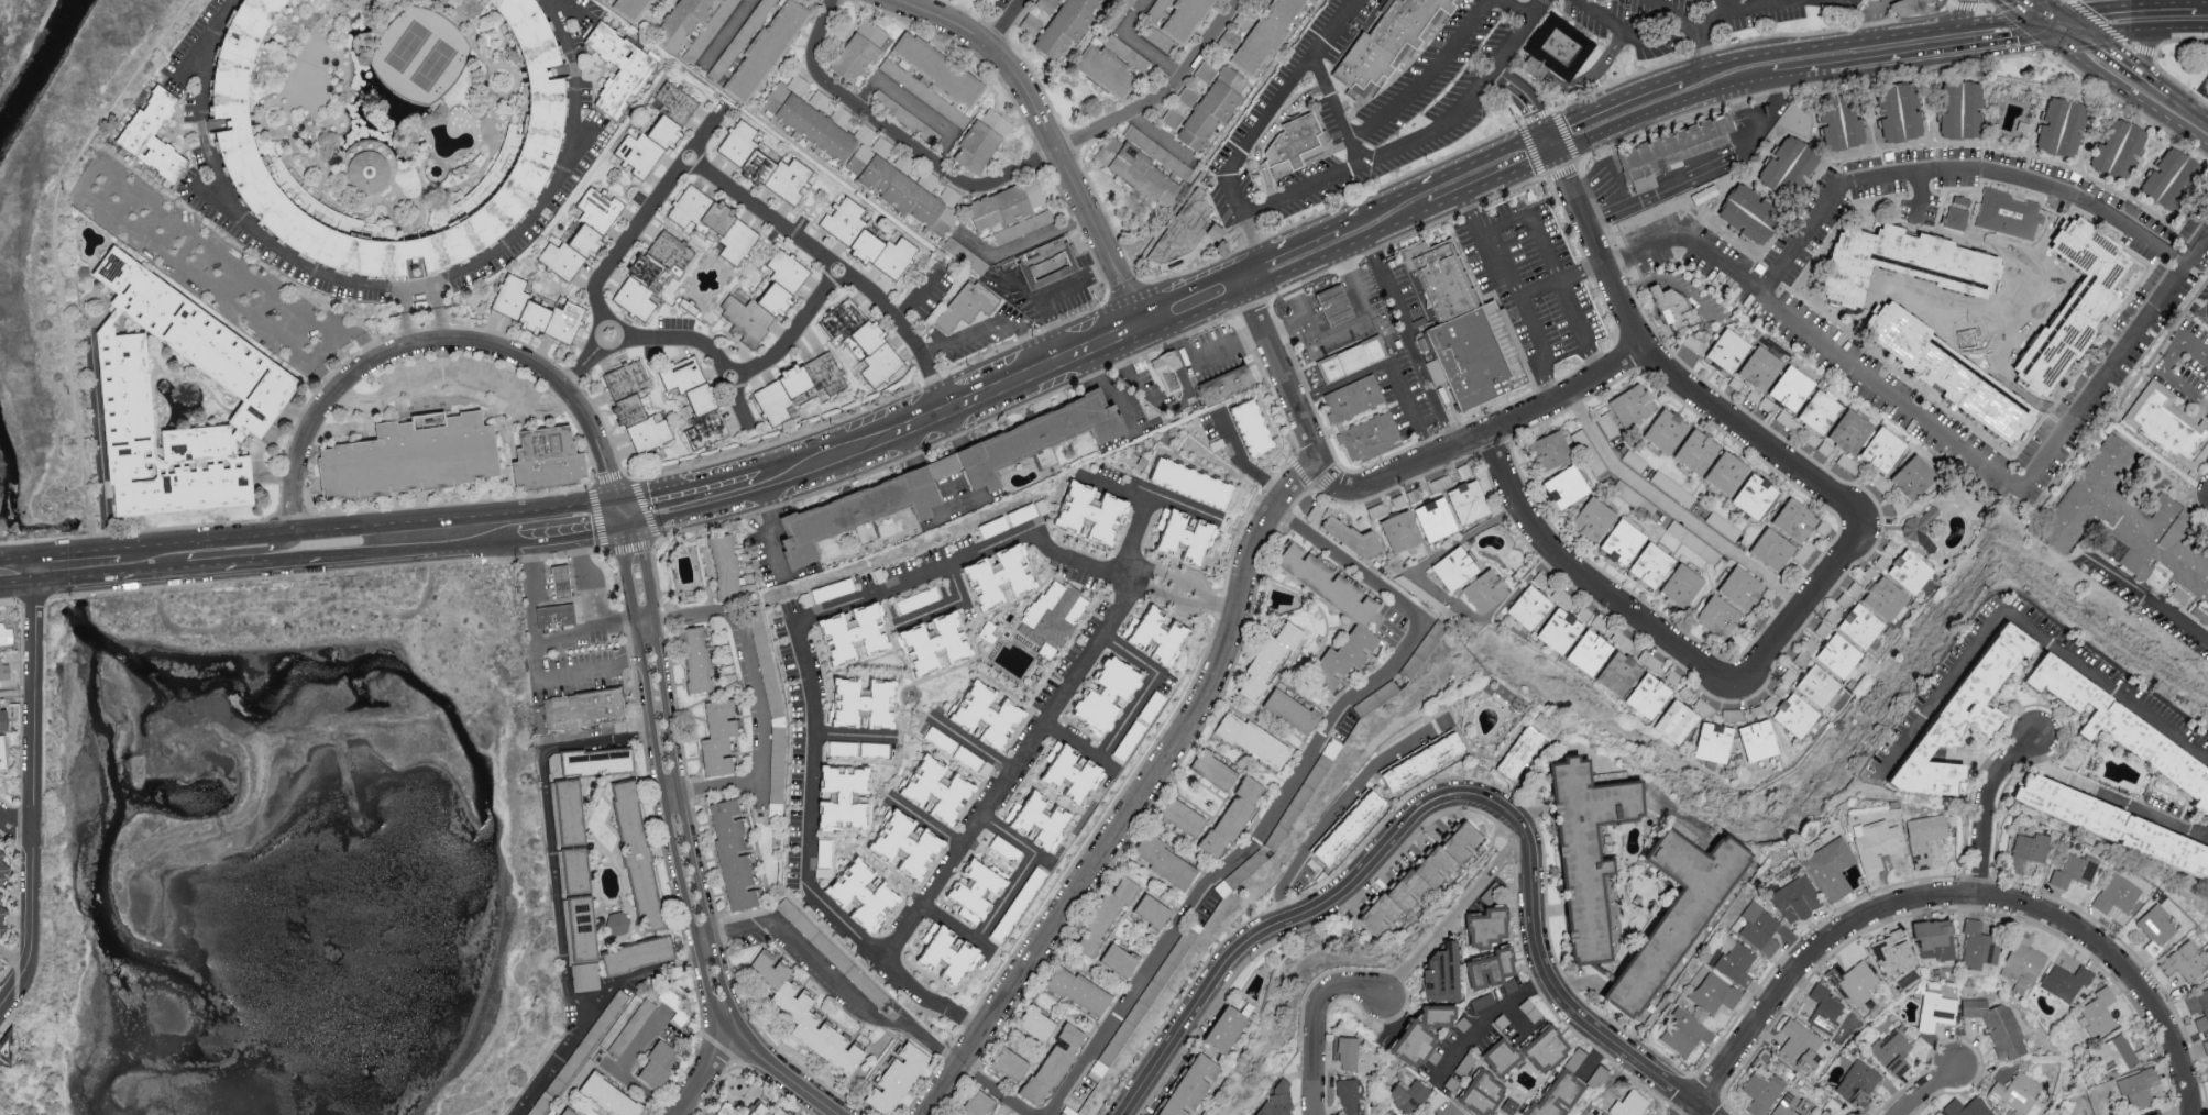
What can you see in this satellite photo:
building: (606, 0)
road: (1721, 0)
road: (2198, 1)
road: (1760, 3)
building: (1045, 4)
building: (1914, 8)
building: (631, 9)
road: (1513, 10)
road: (1536, 10)
road: (1971, 10)
road: (386, 11)
road: (2050, 12)
road: (2029, 13)
building: (1176, 15)
road: (2193, 16)
road: (1674, 18)
road: (2097, 20)
road: (2117, 21)
building: (681, 23)
road: (1877, 23)
road: (1008, 24)
road: (1957, 24)
traffic signals: (2057, 25)
building: (1064, 26)
building: (706, 30)
road: (726, 30)
road: (1996, 31)
building: (1265, 34)
road: (1626, 36)
road: (1700, 36)
road: (2028, 40)
road: (1139, 42)
building: (1393, 43)
building: (756, 45)
park: (407, 47)
building: (1558, 47)
road: (2144, 48)
road: (1854, 49)
road: (2140, 49)
building: (858, 51)
park: (419, 55)
park: (312, 64)
park: (432, 66)
building: (616, 66)
building: (1105, 70)
building: (1205, 71)
road: (1421, 75)
road: (1721, 76)
building: (932, 77)
road: (2132, 78)
road: (517, 80)
road: (1571, 84)
building: (1187, 96)
road: (284, 97)
building: (819, 99)
building: (673, 101)
road: (913, 103)
road: (1527, 103)
building: (1212, 106)
road: (1333, 109)
park: (384, 111)
building: (1898, 111)
building: (903, 115)
building: (809, 117)
building: (1172, 117)
road: (260, 118)
road: (1613, 119)
building: (1841, 120)
building: (2061, 126)
road: (1255, 128)
road: (492, 132)
road: (1045, 132)
building: (151, 135)
building: (537, 139)
building: (980, 140)
building: (646, 144)
road: (1406, 144)
traffic signals: (1556, 144)
building: (1299, 145)
building: (2116, 147)
building: (1674, 152)
road: (392, 163)
building: (764, 163)
building: (1787, 167)
building: (1135, 170)
road: (1493, 170)
building: (367, 172)
road: (1954, 173)
building: (1687, 175)
road: (90, 176)
road: (1003, 179)
building: (2169, 179)
building: (900, 185)
road: (373, 200)
building: (1004, 203)
building: (597, 209)
building: (2004, 211)
building: (1748, 212)
road: (1386, 217)
building: (1953, 218)
building: (713, 221)
building: (1018, 225)
building: (1189, 231)
park: (58, 235)
building: (866, 239)
road: (1020, 241)
road: (1511, 241)
road: (184, 247)
road: (809, 247)
building: (570, 251)
road: (57, 252)
road: (623, 253)
road: (1301, 253)
building: (964, 254)
building: (1902, 262)
building: (1051, 265)
road: (1551, 268)
building: (650, 273)
road: (1252, 275)
road: (1559, 276)
building: (781, 283)
building: (1438, 284)
road: (1513, 284)
road: (387, 286)
road: (1047, 292)
road: (916, 295)
building: (2074, 303)
building: (964, 305)
building: (1332, 308)
building: (535, 310)
building: (1673, 310)
road: (436, 312)
road: (400, 316)
building: (745, 319)
road: (1356, 323)
park: (2004, 323)
road: (990, 325)
road: (794, 336)
road: (1407, 339)
road: (327, 340)
building: (863, 341)
road: (437, 344)
road: (704, 346)
building: (1726, 350)
building: (1476, 357)
road: (923, 360)
road: (1657, 360)
road: (1199, 362)
building: (1351, 362)
road: (1389, 362)
road: (2163, 368)
building: (1166, 371)
road: (1279, 371)
building: (1758, 371)
building: (824, 373)
building: (1949, 374)
road: (450, 376)
building: (623, 378)
building: (1224, 386)
building: (1790, 387)
parking lot: (457, 389)
road: (936, 391)
building: (780, 394)
road: (1150, 395)
building: (175, 397)
building: (695, 401)
building: (1630, 405)
road: (936, 410)
building: (1817, 411)
building: (1361, 421)
building: (2167, 424)
building: (1250, 427)
building: (1665, 430)
building: (1846, 433)
road: (1481, 437)
road: (1946, 437)
road: (100, 441)
building: (1025, 441)
parking lot: (1235, 445)
building: (1882, 450)
building: (1548, 451)
building: (1695, 451)
building: (415, 460)
road: (1241, 461)
building: (551, 462)
building: (1725, 473)
building: (1912, 477)
building: (1189, 483)
building: (1439, 483)
building: (1564, 486)
building: (1754, 496)
building: (1466, 501)
road: (1179, 507)
building: (1376, 510)
road: (1674, 511)
traffic signals: (622, 512)
building: (853, 512)
building: (1089, 512)
road: (1136, 512)
road: (457, 518)
road: (600, 519)
building: (1433, 519)
building: (1592, 519)
building: (1794, 520)
building: (2129, 525)
road: (767, 526)
building: (1822, 527)
building: (1922, 528)
road: (553, 531)
building: (1399, 531)
building: (1183, 534)
road: (239, 537)
building: (1350, 538)
building: (1621, 542)
road: (627, 544)
road: (152, 545)
road: (410, 548)
building: (1771, 549)
road: (235, 551)
building: (1802, 551)
road: (73, 557)
road: (233, 564)
building: (1650, 565)
building: (724, 566)
building: (1453, 567)
road: (14, 568)
road: (72, 570)
road: (144, 570)
building: (1909, 571)
road: (325, 572)
building: (1868, 572)
building: (997, 576)
road: (1582, 577)
building: (556, 583)
road: (559, 585)
building: (1681, 585)
building: (1739, 588)
road: (1143, 590)
road: (1201, 590)
building: (1484, 590)
building: (2179, 594)
building: (1885, 598)
road: (2146, 598)
road: (1185, 604)
road: (586, 605)
road: (946, 605)
road: (1806, 605)
building: (1528, 607)
building: (1054, 611)
road: (530, 615)
road: (301, 617)
road: (658, 617)
building: (1717, 617)
road: (2020, 617)
building: (558, 618)
building: (1359, 623)
building: (1859, 626)
building: (1822, 629)
building: (1559, 630)
building: (6, 633)
building: (853, 633)
building: (1155, 633)
building: (1622, 639)
building: (933, 643)
building: (1045, 649)
building: (1589, 652)
building: (1838, 655)
building: (694, 659)
building: (1266, 659)
building: (1649, 660)
building: (4, 669)
road: (805, 670)
building: (1618, 673)
building: (1816, 685)
building: (1103, 693)
building: (1647, 696)
road: (17, 697)
building: (860, 702)
building: (1704, 707)
building: (1289, 709)
building: (586, 711)
building: (986, 711)
building: (1965, 713)
building: (1733, 714)
road: (1128, 715)
building: (1794, 715)
building: (2, 718)
building: (1676, 721)
building: (2122, 729)
road: (850, 735)
building: (717, 737)
building: (1251, 738)
road: (44, 739)
road: (61, 739)
building: (1757, 740)
building: (1713, 741)
road: (970, 742)
building: (1517, 751)
building: (1, 752)
building: (595, 759)
building: (1420, 759)
road: (1012, 763)
building: (1212, 768)
road: (32, 769)
building: (1069, 771)
road: (677, 774)
road: (659, 780)
road: (721, 786)
building: (936, 786)
road: (1287, 791)
road: (2109, 793)
building: (842, 795)
road: (1143, 797)
road: (1986, 804)
building: (773, 806)
road: (1337, 807)
building: (568, 810)
building: (1232, 814)
building: (1037, 818)
road: (924, 820)
building: (1347, 825)
road: (14, 826)
building: (2117, 826)
building: (1923, 837)
building: (1875, 841)
building: (905, 842)
building: (1586, 848)
building: (2028, 850)
building: (0, 853)
building: (635, 853)
building: (732, 853)
park: (292, 854)
building: (1163, 860)
building: (1830, 866)
building: (2, 869)
building: (573, 869)
building: (2074, 870)
building: (1421, 876)
building: (975, 888)
road: (556, 890)
building: (863, 892)
road: (1004, 896)
building: (2117, 896)
building: (1795, 898)
building: (1150, 909)
building: (2, 910)
building: (1674, 913)
building: (1103, 914)
road: (1453, 914)
building: (616, 921)
building: (1486, 923)
building: (1, 927)
building: (580, 927)
building: (1758, 927)
building: (2155, 927)
building: (1934, 938)
road: (1535, 941)
road: (44, 942)
road: (1243, 943)
building: (1978, 945)
building: (635, 952)
building: (946, 952)
building: (1891, 952)
building: (1118, 958)
road: (13, 960)
building: (2185, 960)
building: (1734, 961)
road: (1801, 961)
building: (2022, 963)
road: (2118, 968)
building: (1492, 969)
building: (1441, 973)
building: (584, 975)
road: (1572, 979)
building: (2066, 979)
building: (1853, 980)
road: (13, 987)
building: (1076, 989)
building: (1714, 993)
road: (46, 1000)
road: (30, 1003)
building: (2198, 1007)
building: (1824, 1008)
building: (1528, 1009)
building: (1935, 1009)
building: (802, 1012)
road: (868, 1012)
building: (2097, 1012)
building: (1438, 1014)
road: (1481, 1020)
road: (1514, 1020)
building: (1035, 1022)
road: (1311, 1023)
road: (968, 1025)
building: (1997, 1026)
building: (1224, 1028)
building: (1683, 1030)
building: (1413, 1042)
building: (1799, 1042)
building: (2205, 1045)
building: (1546, 1048)
building: (1891, 1050)
building: (1347, 1052)
building: (1501, 1055)
building: (2117, 1055)
road: (556, 1060)
building: (1008, 1062)
building: (1052, 1062)
building: (656, 1063)
building: (1584, 1067)
building: (896, 1075)
road: (700, 1077)
road: (777, 1077)
building: (1858, 1083)
building: (1188, 1084)
building: (2138, 1088)
building: (1761, 1089)
road: (1925, 1089)
building: (1482, 1091)
building: (2015, 1092)
building: (1348, 1094)
building: (1407, 1094)
building: (1557, 1094)
building: (608, 1095)
building: (1275, 1101)
building: (976, 1103)
building: (1628, 1103)
building: (1966, 1107)
building: (740, 1108)
building: (1797, 1108)
building: (779, 1112)
building: (1825, 1112)
building: (563, 1113)
road: (1450, 1113)
building: (1597, 1113)
building: (2152, 1113)
building: (1395, 1114)
building: (1933, 1114)

